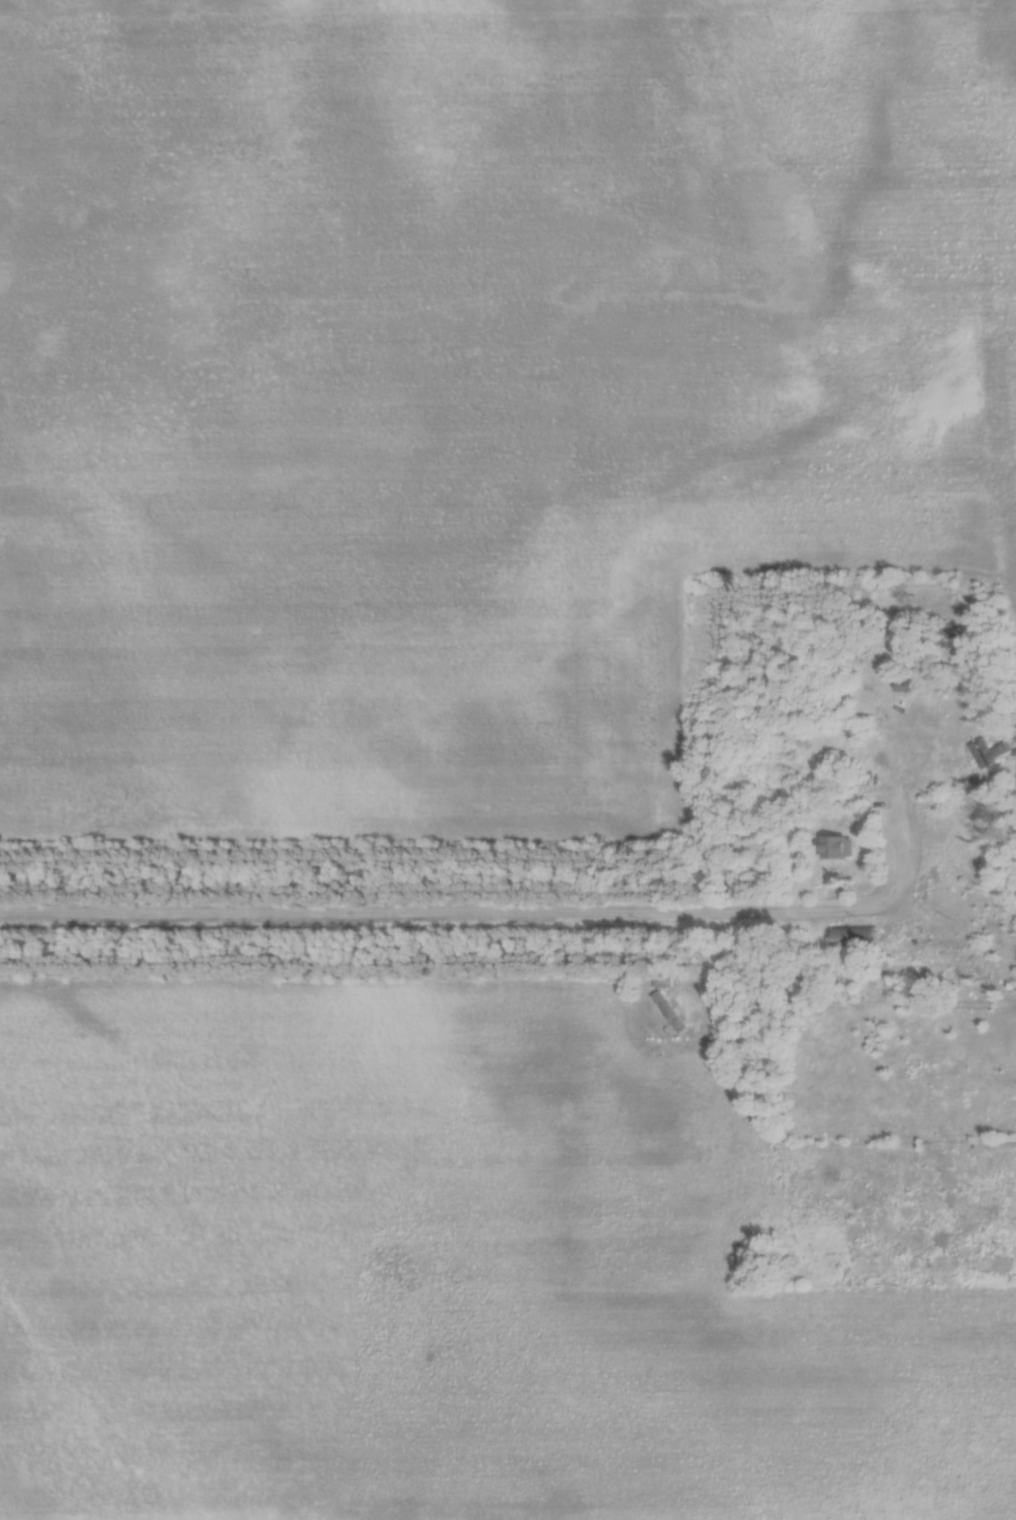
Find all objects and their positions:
building: (942, 632)
building: (988, 753)
building: (836, 847)
road: (474, 920)
building: (852, 937)
building: (661, 980)
building: (668, 1012)

